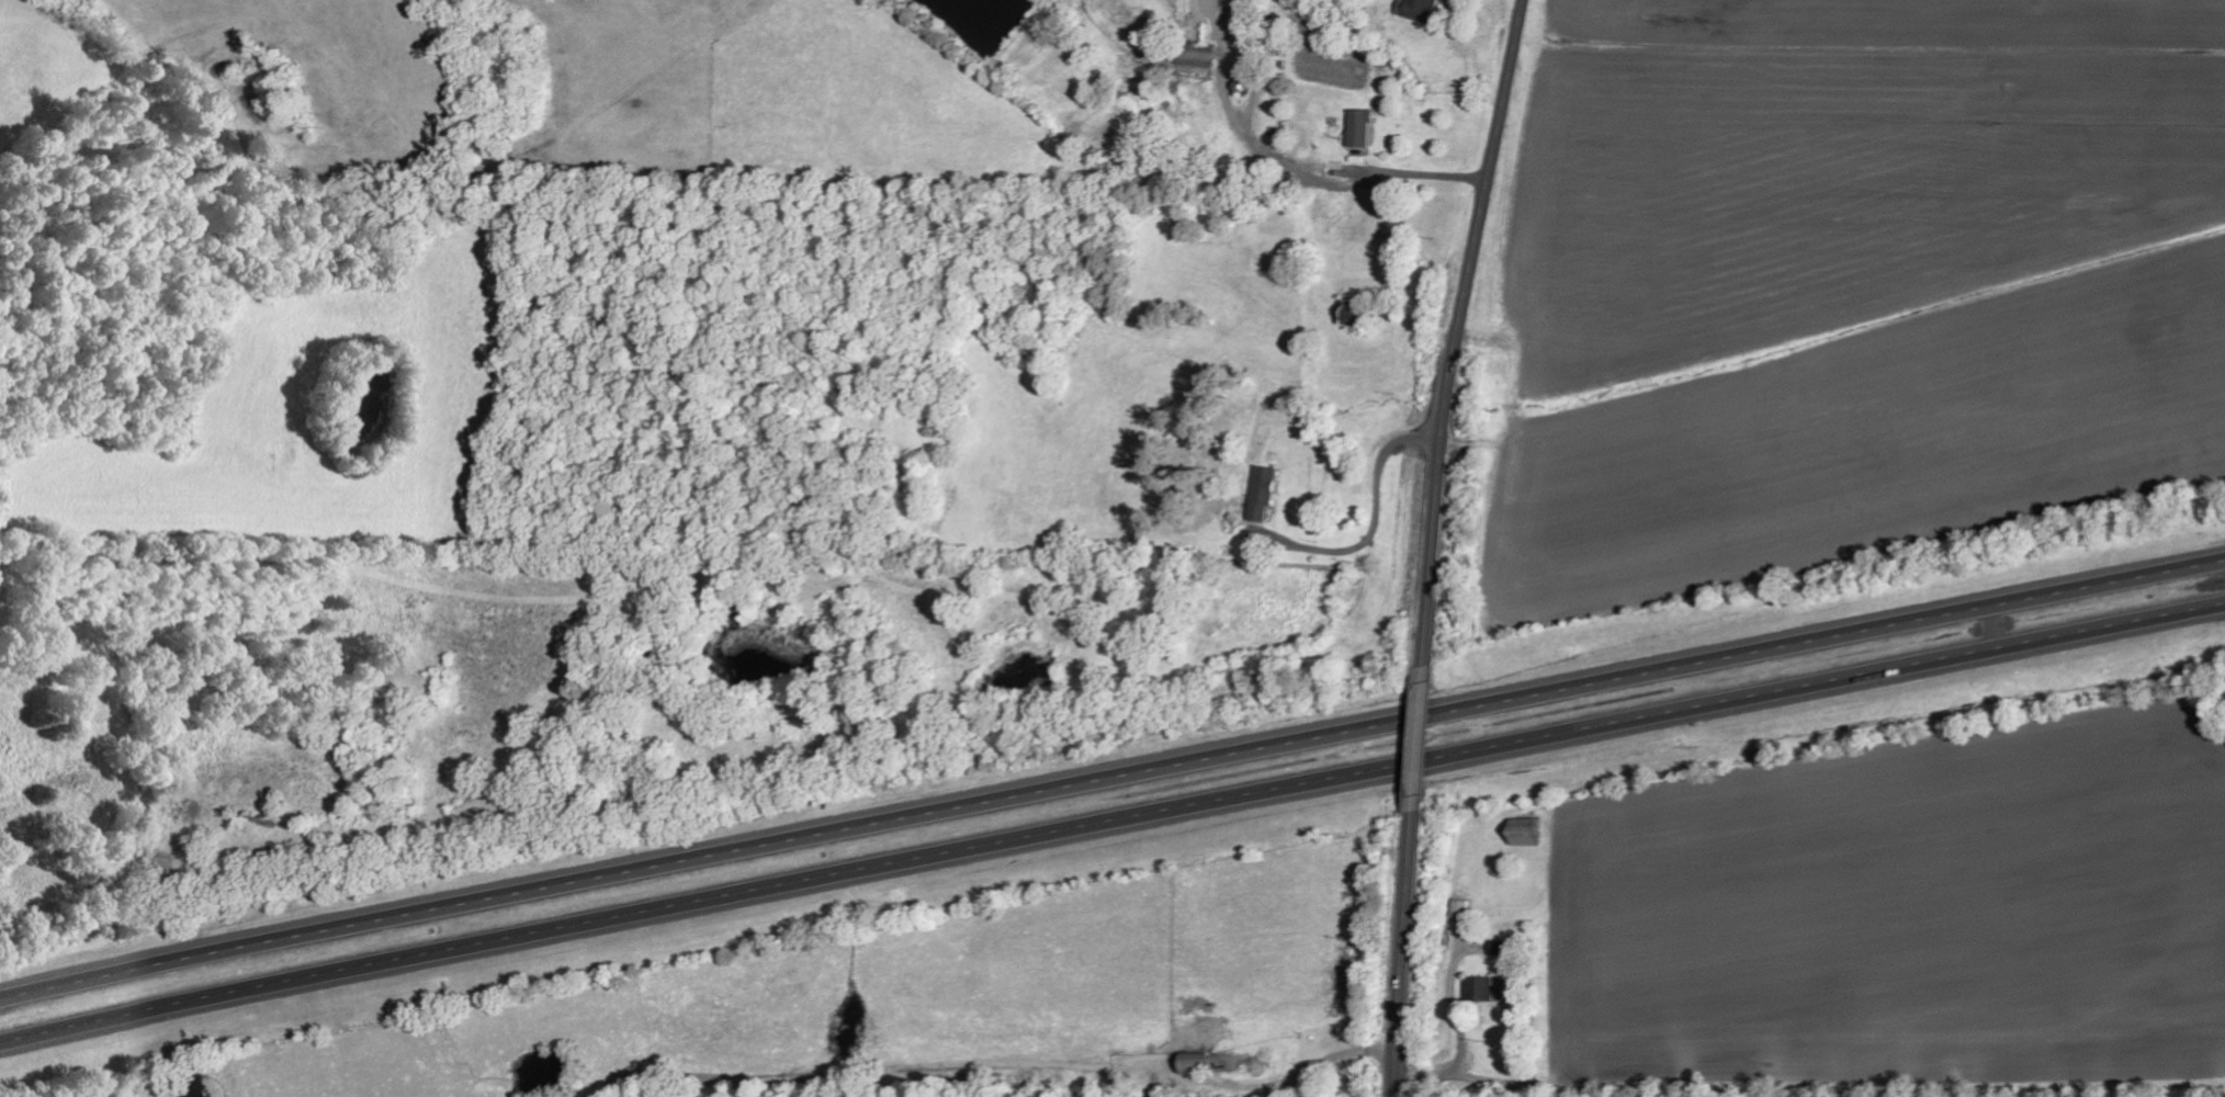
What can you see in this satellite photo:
building: (1424, 10)
building: (1365, 126)
road: (1461, 331)
building: (1266, 493)
road: (1319, 508)
road: (1413, 738)
road: (1111, 771)
road: (1111, 823)
building: (1532, 832)
road: (1404, 953)
building: (1483, 988)

